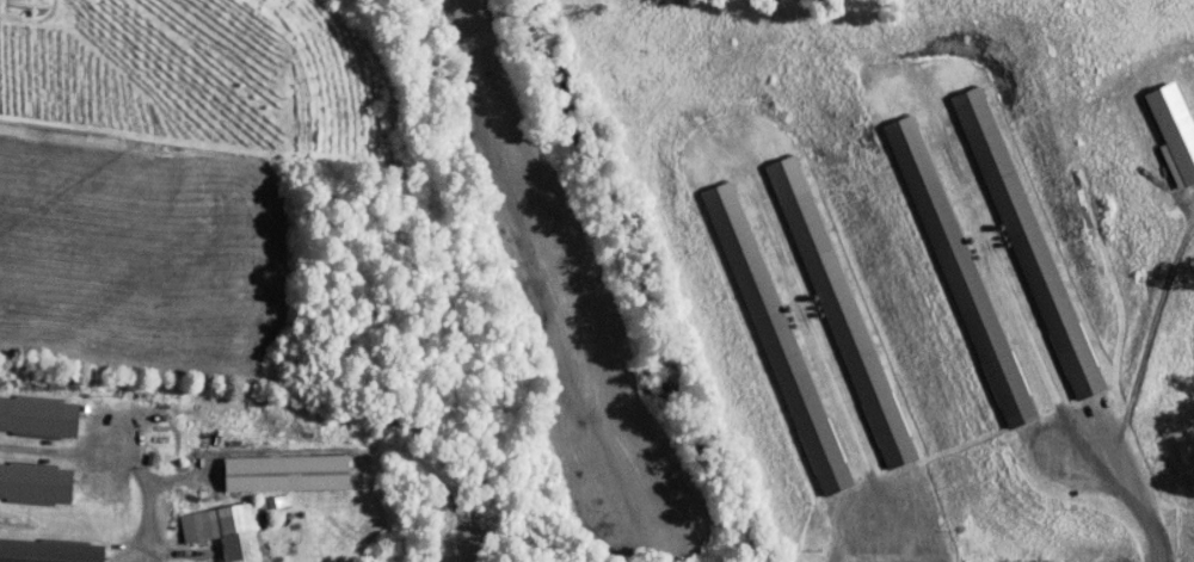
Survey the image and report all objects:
building: (1165, 128)
building: (1016, 235)
building: (829, 304)
building: (764, 331)
building: (41, 418)
road: (290, 430)
road: (119, 456)
building: (275, 465)
building: (38, 482)
building: (205, 514)
building: (53, 550)
building: (204, 558)

